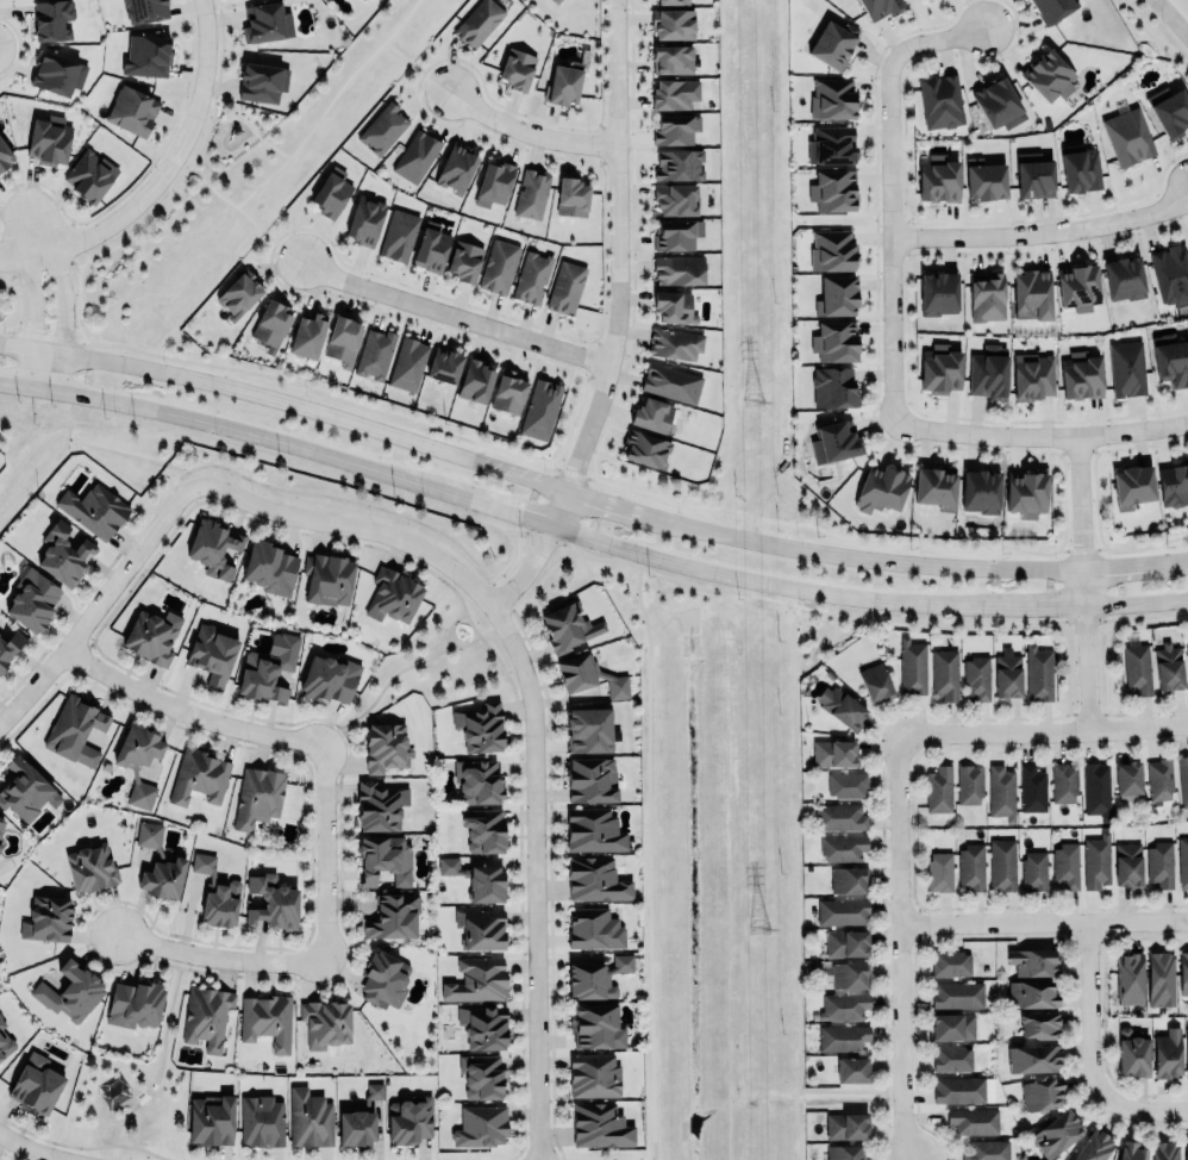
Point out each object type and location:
building: (377, 0)
building: (558, 0)
building: (673, 1)
building: (881, 7)
building: (1053, 8)
building: (145, 11)
road: (1171, 17)
building: (54, 20)
building: (480, 23)
building: (673, 24)
building: (268, 26)
building: (833, 45)
building: (146, 56)
building: (673, 60)
road: (415, 64)
building: (517, 69)
building: (57, 74)
building: (1048, 75)
building: (262, 77)
building: (564, 82)
building: (674, 94)
building: (832, 98)
building: (940, 101)
building: (998, 104)
road: (329, 105)
building: (135, 111)
building: (1173, 114)
road: (246, 123)
building: (382, 129)
road: (525, 129)
building: (675, 129)
building: (1130, 137)
building: (49, 141)
building: (831, 145)
building: (5, 155)
building: (417, 156)
road: (170, 158)
building: (679, 164)
building: (456, 169)
building: (1082, 171)
building: (89, 175)
building: (937, 177)
building: (1034, 180)
building: (986, 181)
building: (493, 183)
road: (890, 189)
building: (833, 191)
building: (331, 193)
building: (531, 194)
building: (571, 198)
building: (677, 199)
road: (237, 208)
building: (365, 220)
road: (1043, 230)
road: (35, 231)
building: (400, 235)
building: (676, 235)
building: (432, 247)
building: (832, 251)
road: (19, 252)
building: (464, 261)
building: (498, 264)
building: (680, 270)
building: (1170, 274)
building: (531, 276)
building: (1125, 279)
building: (565, 285)
building: (1078, 287)
road: (63, 291)
road: (31, 294)
building: (837, 294)
building: (938, 294)
building: (1031, 294)
building: (238, 295)
building: (987, 298)
building: (675, 307)
road: (454, 314)
road: (609, 319)
building: (271, 325)
building: (307, 335)
building: (343, 342)
building: (836, 342)
building: (676, 343)
building: (374, 354)
building: (406, 362)
road: (50, 363)
building: (1173, 363)
building: (445, 366)
building: (1127, 368)
building: (940, 369)
building: (989, 373)
building: (1033, 376)
building: (1081, 376)
building: (475, 381)
building: (673, 383)
building: (834, 388)
building: (508, 393)
power tower: (754, 405)
building: (540, 410)
building: (651, 411)
road: (1042, 434)
building: (836, 443)
building: (645, 445)
road: (39, 475)
building: (1174, 485)
building: (934, 487)
building: (1133, 487)
building: (881, 488)
building: (981, 492)
road: (588, 493)
building: (1027, 494)
building: (93, 509)
road: (587, 536)
building: (213, 548)
building: (63, 554)
building: (269, 567)
building: (327, 578)
road: (1084, 582)
building: (31, 597)
building: (392, 597)
road: (99, 600)
building: (564, 625)
building: (151, 635)
road: (450, 638)
building: (1186, 643)
building: (10, 647)
building: (211, 651)
building: (267, 666)
building: (1168, 666)
building: (912, 667)
building: (1137, 668)
building: (575, 671)
building: (1038, 672)
building: (945, 673)
building: (329, 675)
building: (1006, 675)
building: (976, 678)
building: (875, 684)
road: (382, 687)
building: (842, 706)
road: (185, 713)
road: (529, 717)
building: (480, 725)
building: (74, 728)
building: (588, 730)
road: (1044, 734)
building: (137, 743)
building: (386, 747)
building: (834, 751)
building: (199, 777)
building: (1127, 778)
building: (477, 779)
building: (1183, 779)
building: (590, 780)
building: (1159, 780)
building: (1063, 781)
building: (969, 782)
building: (846, 785)
building: (1096, 786)
building: (23, 787)
building: (1031, 788)
building: (938, 790)
building: (1000, 791)
building: (257, 797)
building: (379, 804)
building: (840, 817)
building: (1, 823)
building: (483, 830)
building: (593, 830)
building: (0, 846)
building: (843, 847)
road: (323, 852)
road: (649, 855)
building: (383, 857)
building: (1096, 861)
building: (1182, 862)
building: (158, 863)
building: (1001, 865)
building: (1127, 865)
building: (1159, 865)
building: (970, 866)
building: (1065, 866)
building: (90, 867)
building: (1033, 869)
building: (939, 871)
road: (794, 873)
building: (477, 878)
building: (595, 879)
building: (849, 879)
building: (215, 893)
building: (271, 902)
building: (842, 910)
building: (45, 917)
building: (393, 918)
road: (1045, 924)
power tower: (757, 925)
building: (481, 928)
building: (594, 929)
building: (846, 943)
road: (903, 948)
road: (218, 956)
building: (1032, 961)
building: (950, 963)
building: (1183, 972)
building: (849, 974)
building: (594, 977)
building: (476, 978)
building: (383, 979)
building: (1128, 979)
building: (1159, 979)
building: (71, 991)
building: (957, 994)
building: (1031, 994)
building: (135, 1004)
road: (1090, 1004)
building: (843, 1006)
building: (207, 1016)
building: (265, 1021)
building: (325, 1023)
building: (1038, 1023)
building: (482, 1024)
building: (595, 1024)
building: (952, 1027)
building: (842, 1036)
building: (5, 1041)
building: (1133, 1052)
building: (1187, 1052)
building: (1168, 1054)
building: (1032, 1058)
building: (952, 1059)
road: (161, 1062)
building: (852, 1068)
building: (593, 1074)
building: (481, 1077)
building: (35, 1085)
building: (958, 1090)
road: (851, 1091)
building: (1042, 1092)
road: (1138, 1110)
building: (211, 1118)
building: (309, 1118)
building: (408, 1120)
building: (974, 1120)
building: (261, 1121)
building: (480, 1123)
building: (599, 1124)
building: (845, 1124)
building: (355, 1125)
building: (1056, 1134)
building: (1094, 1146)
road: (33, 1149)
building: (987, 1149)
building: (1186, 1149)
building: (1131, 1150)
building: (1164, 1150)
building: (844, 1152)
road: (544, 1159)

